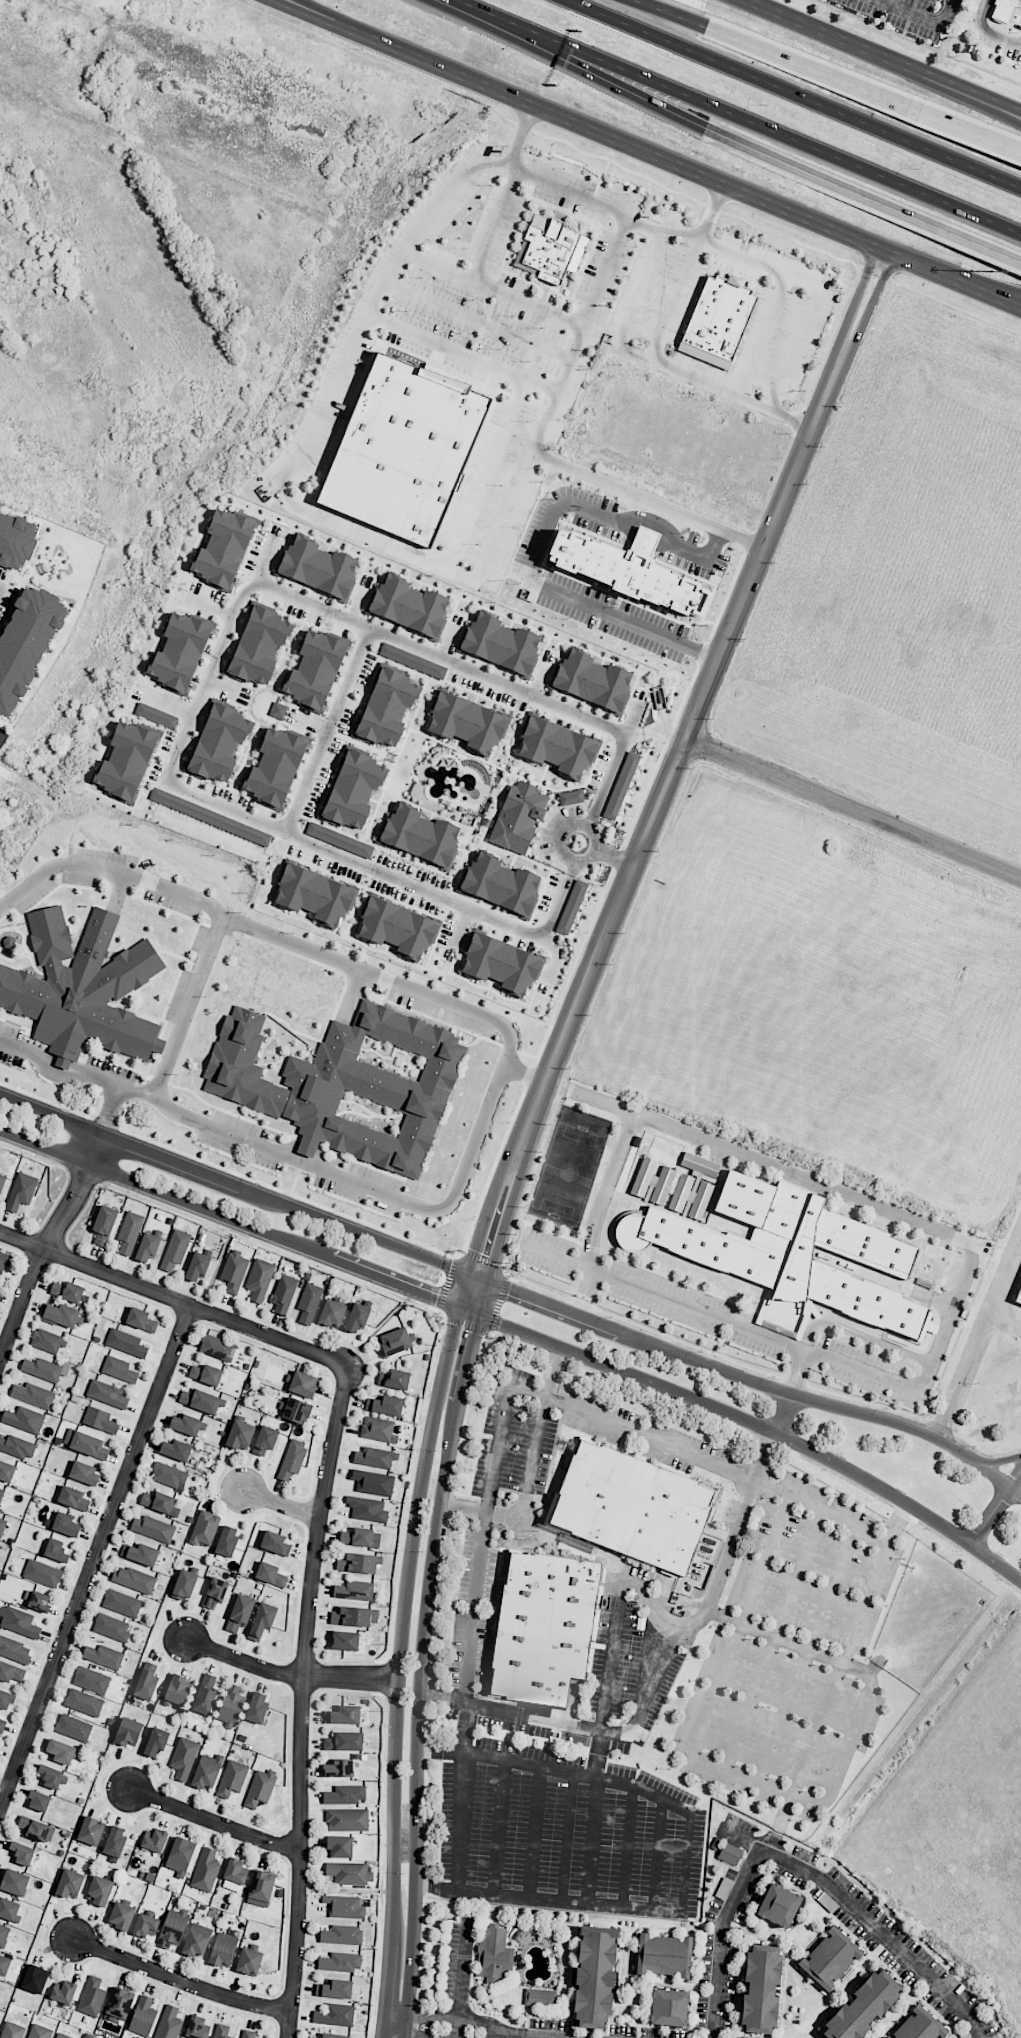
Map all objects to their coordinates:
road: (466, 4)
building: (1003, 9)
road: (329, 13)
road: (669, 13)
road: (314, 18)
road: (924, 21)
road: (499, 24)
road: (837, 33)
street lamp: (612, 41)
road: (389, 42)
road: (388, 47)
street lamp: (362, 48)
road: (809, 67)
road: (937, 80)
road: (614, 84)
road: (969, 88)
road: (794, 94)
street lamp: (765, 104)
road: (988, 107)
road: (748, 120)
road: (967, 127)
road: (520, 136)
street lamp: (916, 167)
road: (719, 182)
road: (863, 196)
road: (666, 234)
building: (547, 248)
road: (610, 260)
street lamp: (993, 270)
street lamp: (874, 278)
road: (985, 284)
road: (822, 289)
road: (858, 294)
road: (872, 299)
road: (636, 307)
building: (718, 320)
road: (764, 335)
road: (443, 347)
road: (654, 353)
street lamp: (820, 362)
road: (514, 409)
road: (304, 448)
building: (404, 448)
street lamp: (781, 458)
road: (633, 492)
road: (648, 535)
building: (16, 540)
building: (224, 547)
street lamp: (742, 553)
road: (696, 554)
building: (318, 566)
building: (627, 571)
road: (552, 588)
building: (410, 607)
road: (211, 608)
building: (501, 643)
building: (26, 644)
building: (259, 645)
building: (181, 651)
road: (436, 655)
building: (412, 661)
building: (315, 667)
street lamp: (690, 679)
building: (593, 680)
road: (172, 705)
building: (386, 707)
building: (278, 710)
building: (156, 715)
road: (634, 719)
building: (467, 721)
road: (326, 729)
road: (664, 731)
road: (632, 734)
building: (219, 741)
street lamp: (663, 742)
building: (557, 746)
road: (680, 749)
building: (128, 759)
building: (276, 767)
building: (621, 786)
building: (352, 788)
building: (571, 797)
road: (853, 808)
building: (519, 816)
building: (419, 836)
street lamp: (626, 837)
building: (339, 840)
road: (578, 842)
road: (328, 849)
road: (606, 853)
building: (501, 885)
building: (315, 894)
building: (571, 907)
building: (397, 926)
road: (461, 926)
street lamp: (586, 933)
building: (9, 942)
road: (289, 944)
building: (502, 962)
building: (82, 986)
road: (190, 1009)
street lamp: (547, 1028)
road: (78, 1081)
building: (345, 1083)
street lamp: (61, 1103)
street lamp: (509, 1123)
street lamp: (156, 1139)
street lamp: (30, 1154)
park: (569, 1167)
street lamp: (254, 1176)
building: (1, 1179)
road: (501, 1181)
building: (652, 1182)
road: (234, 1183)
road: (352, 1183)
building: (693, 1186)
road: (831, 1188)
building: (21, 1191)
street lamp: (137, 1195)
street lamp: (343, 1212)
road: (598, 1214)
road: (230, 1219)
street lamp: (472, 1219)
road: (505, 1220)
building: (104, 1225)
street lamp: (227, 1230)
building: (129, 1232)
road: (479, 1239)
road: (45, 1241)
street lamp: (434, 1247)
building: (147, 1248)
building: (175, 1249)
building: (784, 1250)
building: (4, 1261)
building: (197, 1267)
street lamp: (323, 1267)
building: (234, 1271)
road: (479, 1277)
building: (259, 1279)
building: (0, 1290)
road: (465, 1290)
building: (67, 1291)
building: (284, 1294)
building: (1018, 1294)
road: (173, 1299)
street lamp: (414, 1300)
building: (309, 1302)
road: (554, 1308)
building: (332, 1313)
building: (61, 1315)
road: (723, 1316)
building: (356, 1318)
parking lot: (723, 1318)
building: (141, 1320)
road: (1002, 1321)
road: (977, 1329)
road: (862, 1335)
road: (471, 1340)
building: (47, 1341)
building: (395, 1341)
building: (126, 1343)
building: (217, 1348)
street lamp: (457, 1350)
building: (42, 1369)
building: (118, 1369)
road: (800, 1369)
building: (206, 1374)
building: (393, 1379)
building: (303, 1384)
building: (106, 1394)
building: (34, 1395)
building: (202, 1401)
road: (826, 1403)
building: (385, 1405)
building: (296, 1411)
road: (785, 1413)
building: (24, 1419)
building: (100, 1420)
road: (752, 1422)
building: (187, 1425)
building: (378, 1429)
building: (240, 1435)
building: (265, 1440)
building: (86, 1444)
building: (17, 1447)
building: (176, 1450)
street lamp: (435, 1450)
building: (374, 1457)
building: (292, 1459)
road: (1000, 1460)
building: (6, 1471)
road: (530, 1472)
building: (84, 1473)
building: (169, 1475)
building: (373, 1482)
building: (1, 1494)
building: (73, 1498)
building: (160, 1503)
road: (280, 1505)
road: (485, 1506)
building: (629, 1508)
road: (995, 1508)
building: (367, 1509)
road: (836, 1518)
road: (896, 1523)
building: (65, 1524)
building: (2, 1526)
building: (153, 1528)
building: (204, 1528)
building: (356, 1537)
building: (227, 1541)
road: (578, 1542)
building: (275, 1543)
building: (56, 1550)
street lamp: (420, 1552)
building: (143, 1554)
road: (95, 1558)
building: (358, 1563)
road: (720, 1570)
building: (42, 1573)
building: (270, 1574)
building: (134, 1579)
building: (184, 1585)
building: (354, 1590)
building: (214, 1593)
building: (39, 1602)
building: (122, 1603)
building: (240, 1613)
building: (354, 1616)
building: (262, 1620)
building: (20, 1623)
road: (405, 1623)
road: (740, 1623)
building: (540, 1626)
building: (111, 1627)
road: (772, 1637)
building: (345, 1641)
building: (15, 1649)
road: (806, 1652)
street lamp: (409, 1653)
building: (103, 1656)
road: (838, 1667)
building: (10, 1672)
road: (291, 1675)
building: (91, 1680)
building: (146, 1682)
building: (178, 1690)
building: (205, 1695)
building: (6, 1700)
road: (300, 1701)
building: (84, 1702)
building: (231, 1707)
building: (256, 1708)
building: (343, 1715)
road: (416, 1718)
building: (2, 1726)
building: (73, 1727)
road: (597, 1727)
road: (853, 1727)
building: (128, 1732)
road: (602, 1739)
building: (344, 1741)
building: (156, 1742)
building: (61, 1751)
building: (183, 1758)
street lamp: (403, 1760)
building: (339, 1768)
road: (556, 1770)
building: (207, 1772)
building: (53, 1777)
building: (232, 1779)
building: (260, 1788)
building: (345, 1795)
building: (38, 1801)
road: (785, 1811)
building: (347, 1819)
road: (211, 1820)
road: (502, 1827)
building: (36, 1829)
building: (91, 1831)
parking lot: (567, 1831)
road: (537, 1832)
road: (569, 1837)
building: (154, 1841)
building: (114, 1842)
road: (775, 1844)
road: (630, 1846)
building: (339, 1847)
building: (22, 1853)
road: (658, 1854)
building: (730, 1854)
building: (180, 1856)
road: (688, 1862)
building: (205, 1870)
road: (804, 1872)
building: (349, 1873)
street lamp: (401, 1873)
building: (235, 1876)
building: (14, 1882)
building: (69, 1884)
building: (260, 1888)
building: (100, 1890)
road: (548, 1898)
building: (778, 1905)
building: (344, 1907)
building: (8, 1909)
building: (121, 1916)
building: (145, 1925)
building: (173, 1927)
building: (3, 1935)
building: (342, 1935)
building: (197, 1940)
building: (223, 1950)
building: (494, 1955)
building: (663, 1955)
building: (829, 1958)
building: (249, 1961)
building: (340, 1962)
building: (4, 1965)
road: (462, 1970)
building: (594, 1977)
building: (34, 1979)
road: (178, 1979)
road: (389, 1987)
building: (333, 1989)
building: (760, 1989)
building: (63, 1994)
building: (91, 1997)
building: (540, 1997)
building: (119, 2005)
building: (669, 2007)
building: (862, 2007)
building: (335, 2015)
building: (143, 2017)
road: (451, 2018)
building: (169, 2023)
building: (919, 2026)
building: (197, 2028)
building: (12, 2030)
building: (221, 2031)
building: (40, 2032)
building: (248, 2034)
road: (384, 2034)
road: (422, 2034)
road: (517, 2034)
building: (62, 2036)
building: (334, 2036)
road: (502, 2036)
road: (541, 2036)
building: (313, 2037)

